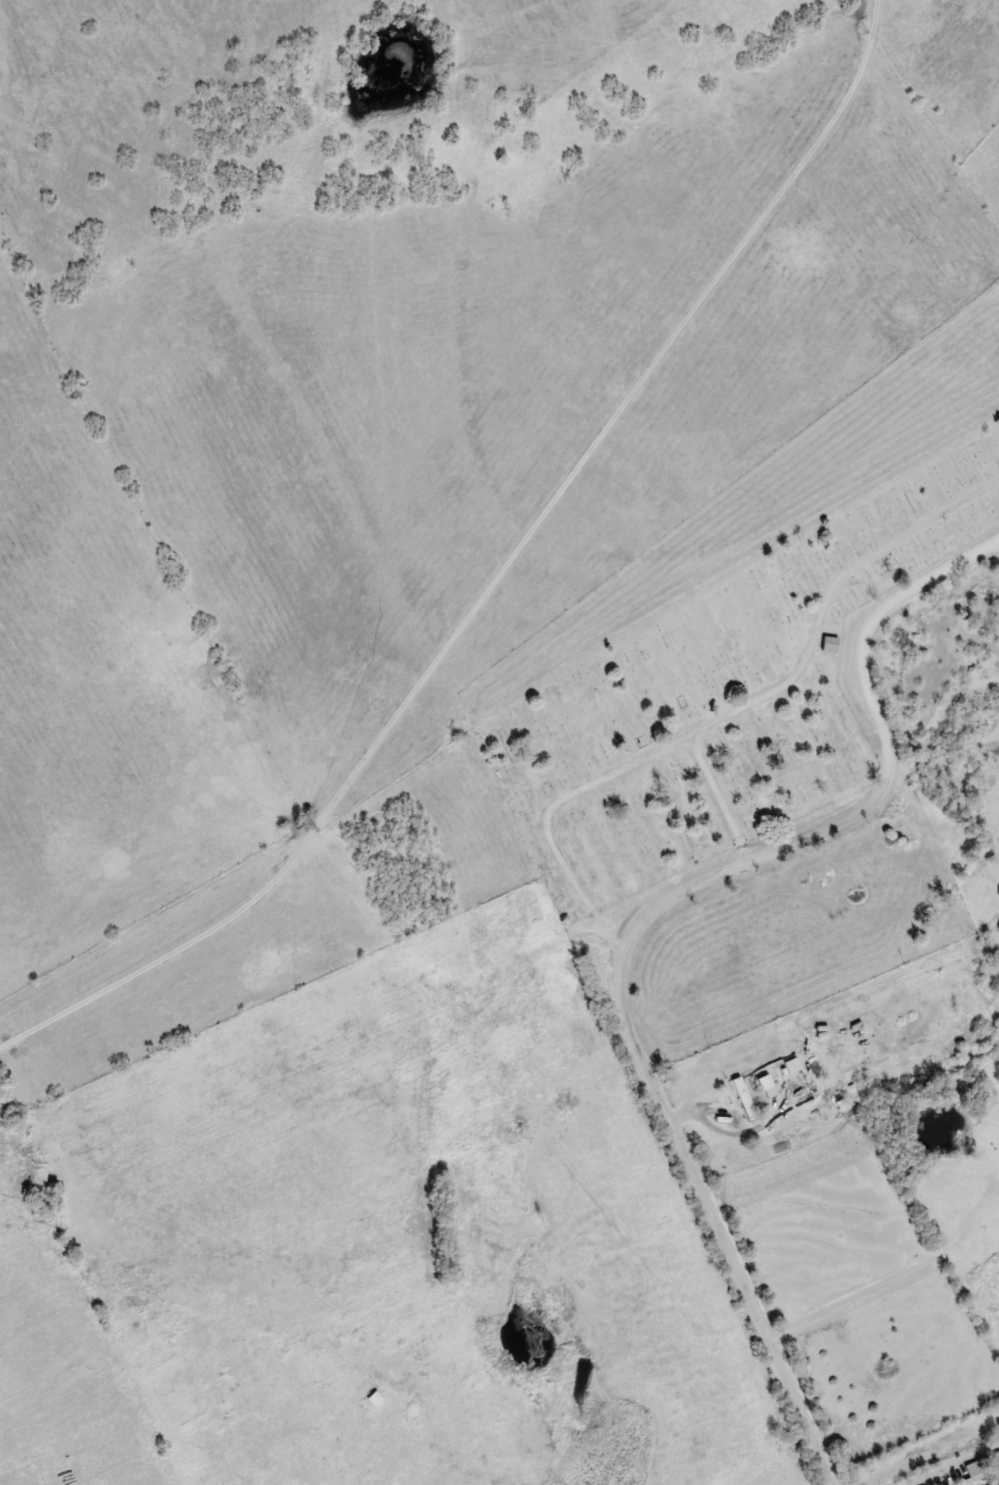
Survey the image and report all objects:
building: (783, 240)
road: (497, 578)
building: (828, 643)
park: (722, 697)
road: (731, 713)
road: (721, 798)
road: (637, 925)
building: (740, 1100)
building: (744, 1136)
road: (894, 1279)
building: (374, 1398)
road: (955, 1466)
building: (971, 1468)

